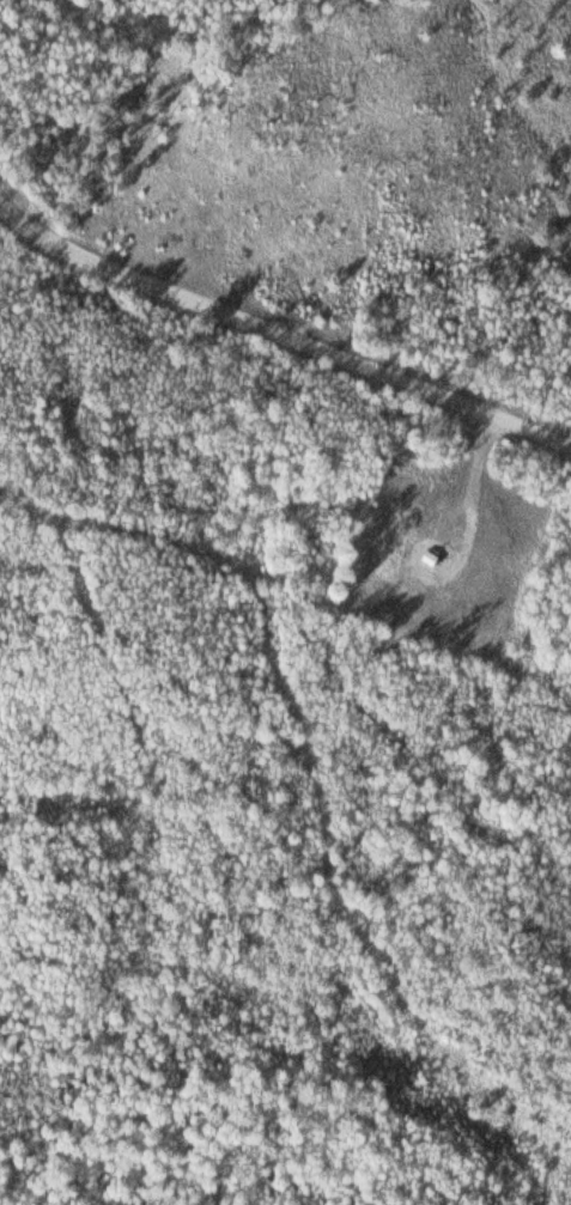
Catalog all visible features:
road: (275, 312)
petroleum well: (420, 556)
building: (423, 559)

